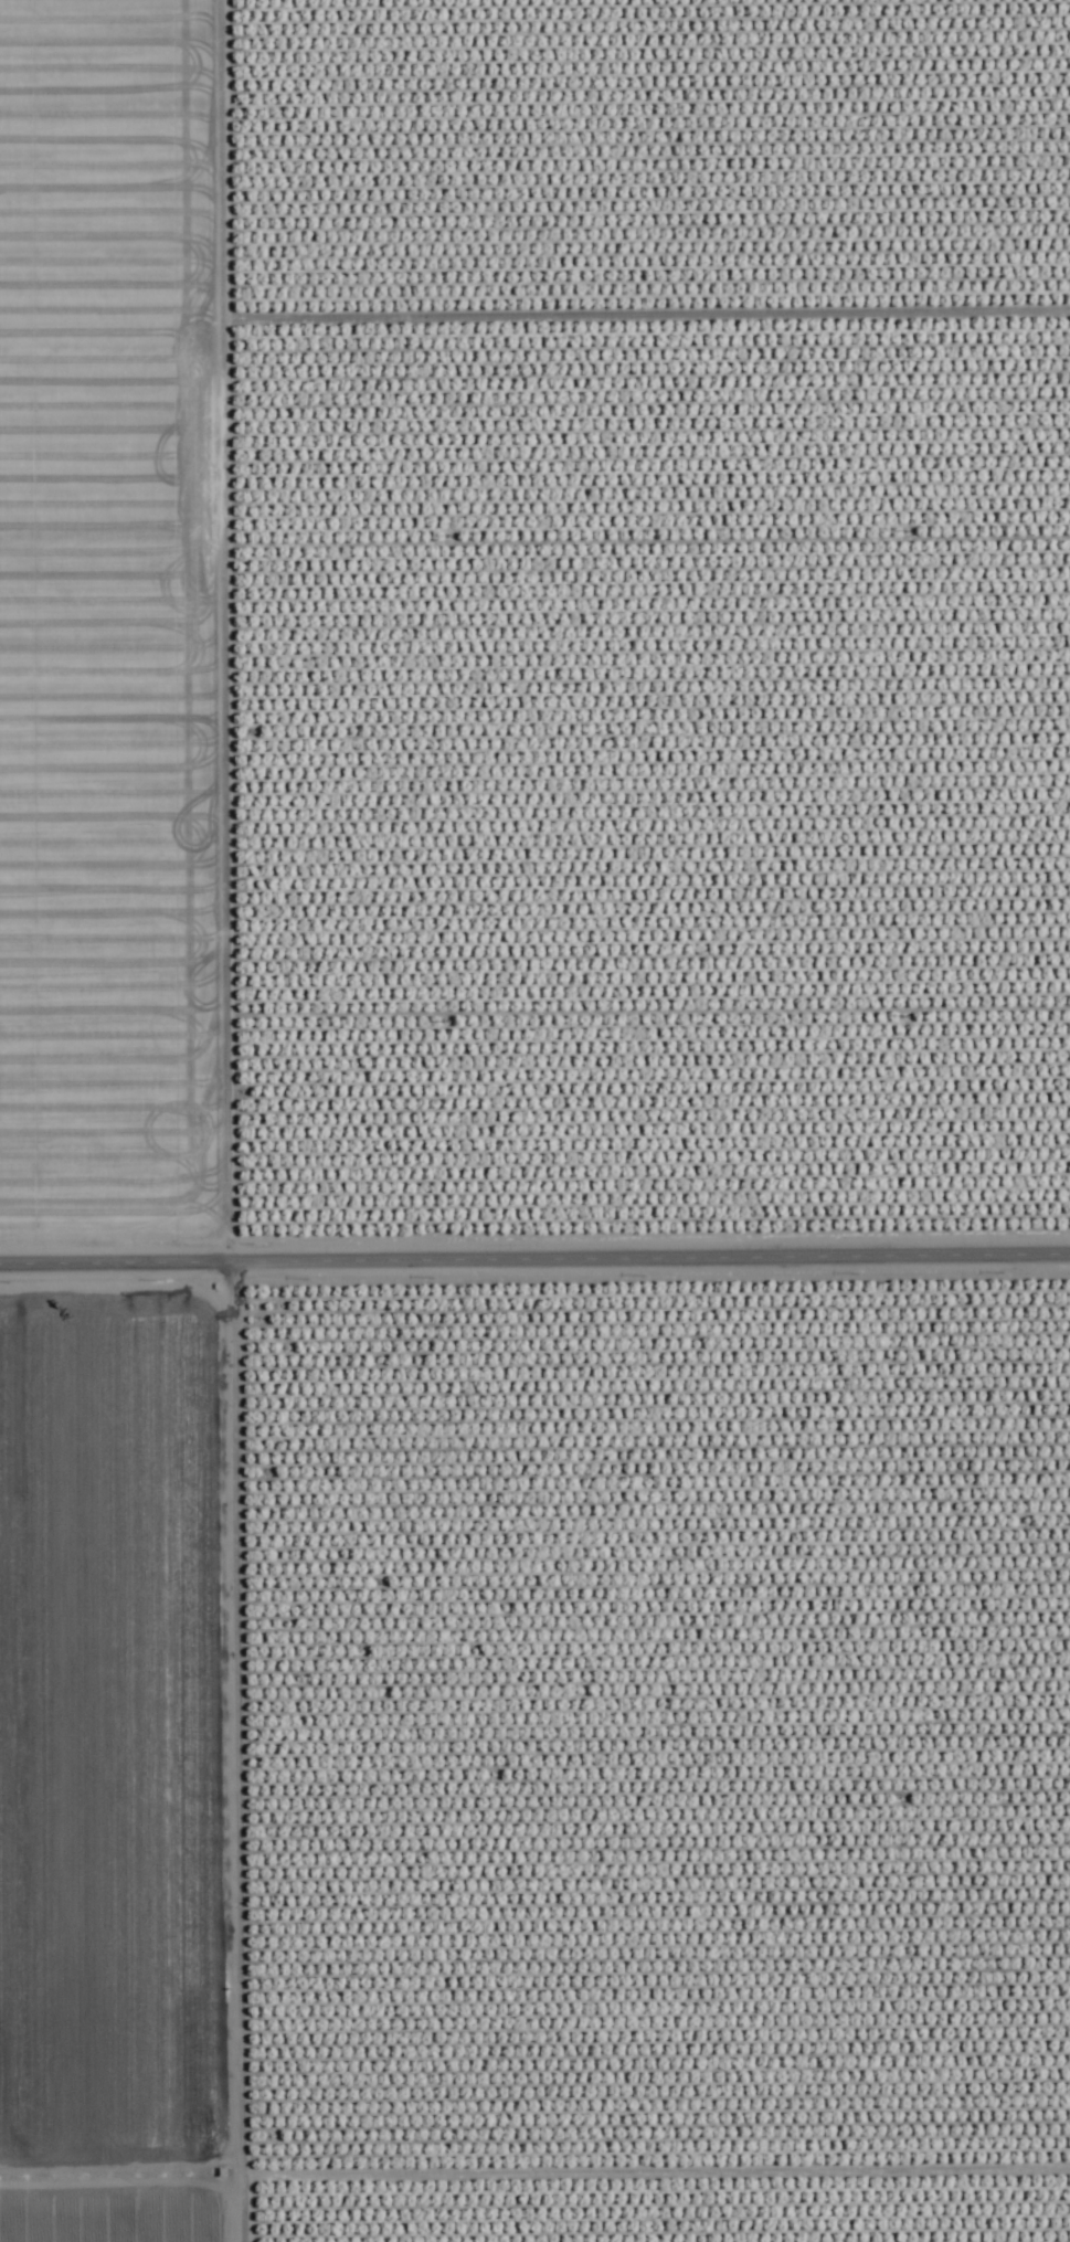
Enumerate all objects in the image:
building: (697, 1006)
road: (191, 1120)
crop: (534, 1121)
road: (534, 1241)
building: (720, 1404)
building: (406, 1415)
building: (322, 1491)
building: (903, 1510)
building: (1004, 1524)
building: (353, 1546)
building: (532, 1677)
building: (369, 1819)
building: (356, 1866)
building: (850, 1982)
building: (555, 2174)

